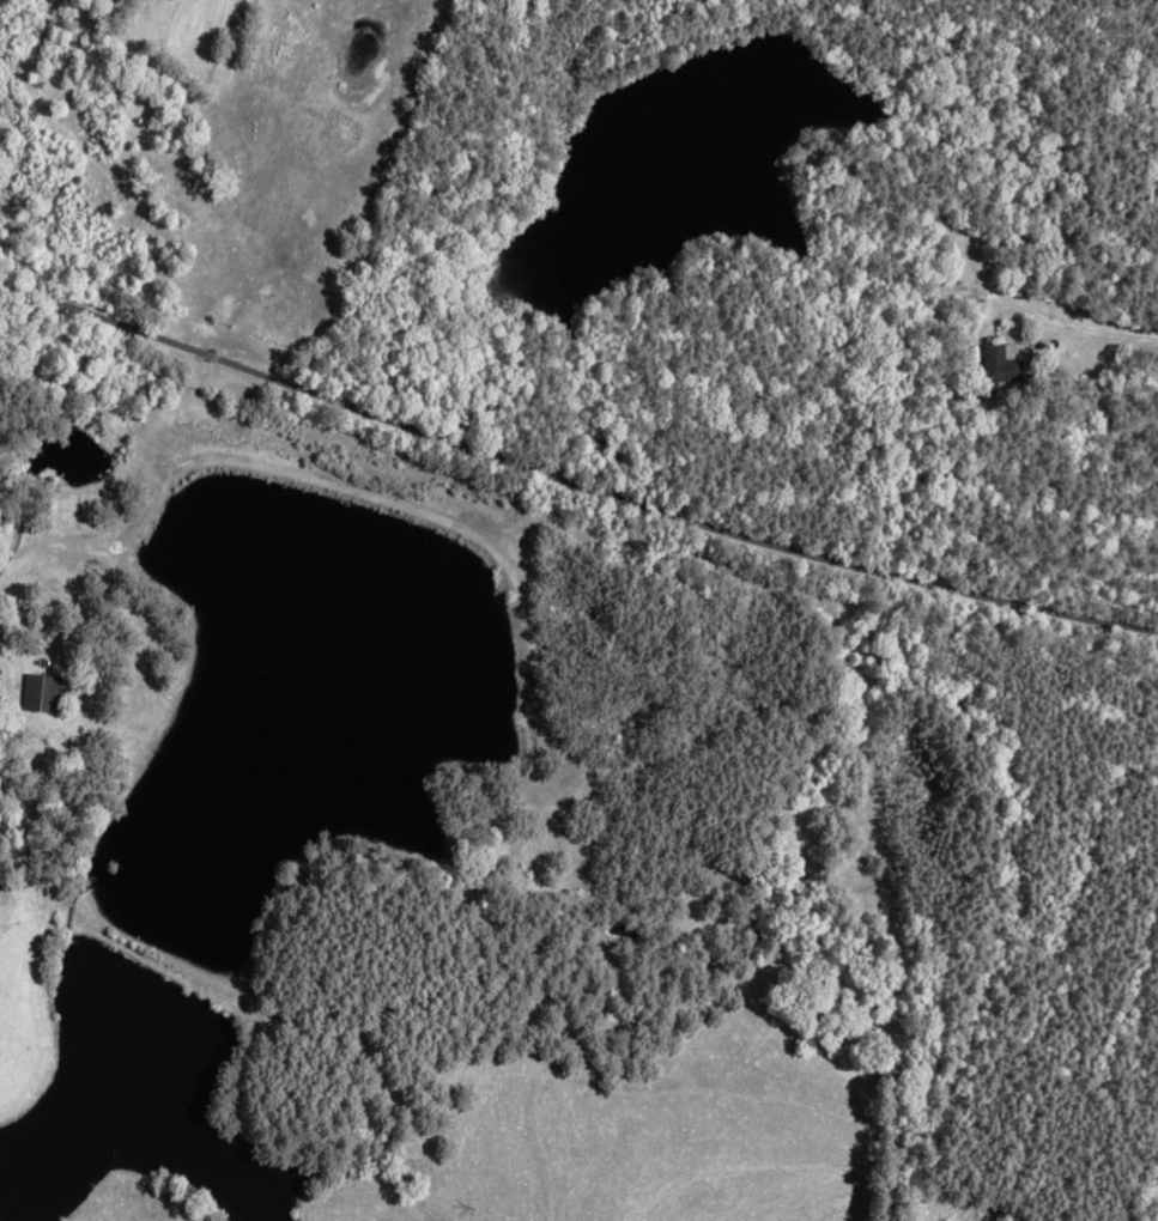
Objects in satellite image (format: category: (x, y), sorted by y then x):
road: (1044, 317)
building: (1002, 364)
road: (571, 485)
building: (43, 694)
building: (993, 1215)

